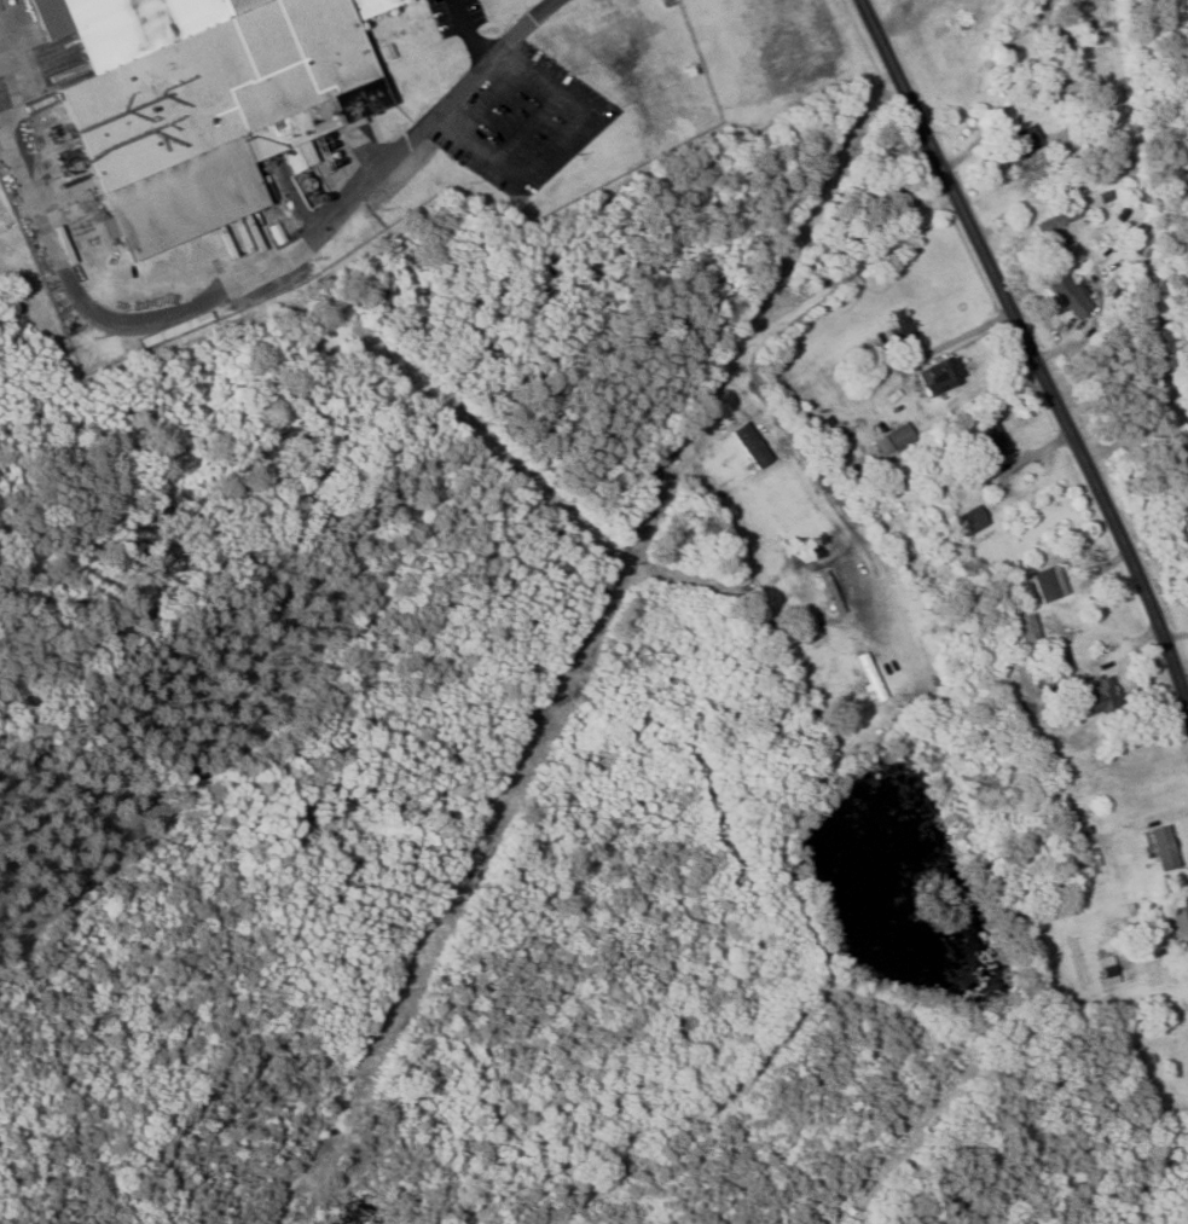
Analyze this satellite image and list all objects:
road: (468, 34)
road: (7, 43)
building: (199, 100)
building: (1057, 228)
road: (261, 268)
building: (1071, 295)
building: (903, 325)
road: (1032, 347)
road: (757, 350)
building: (941, 376)
building: (896, 441)
building: (992, 442)
building: (752, 445)
building: (969, 522)
building: (1014, 576)
building: (1049, 584)
building: (834, 593)
building: (1027, 628)
building: (868, 672)
building: (1102, 697)
building: (1163, 848)
building: (1180, 922)

